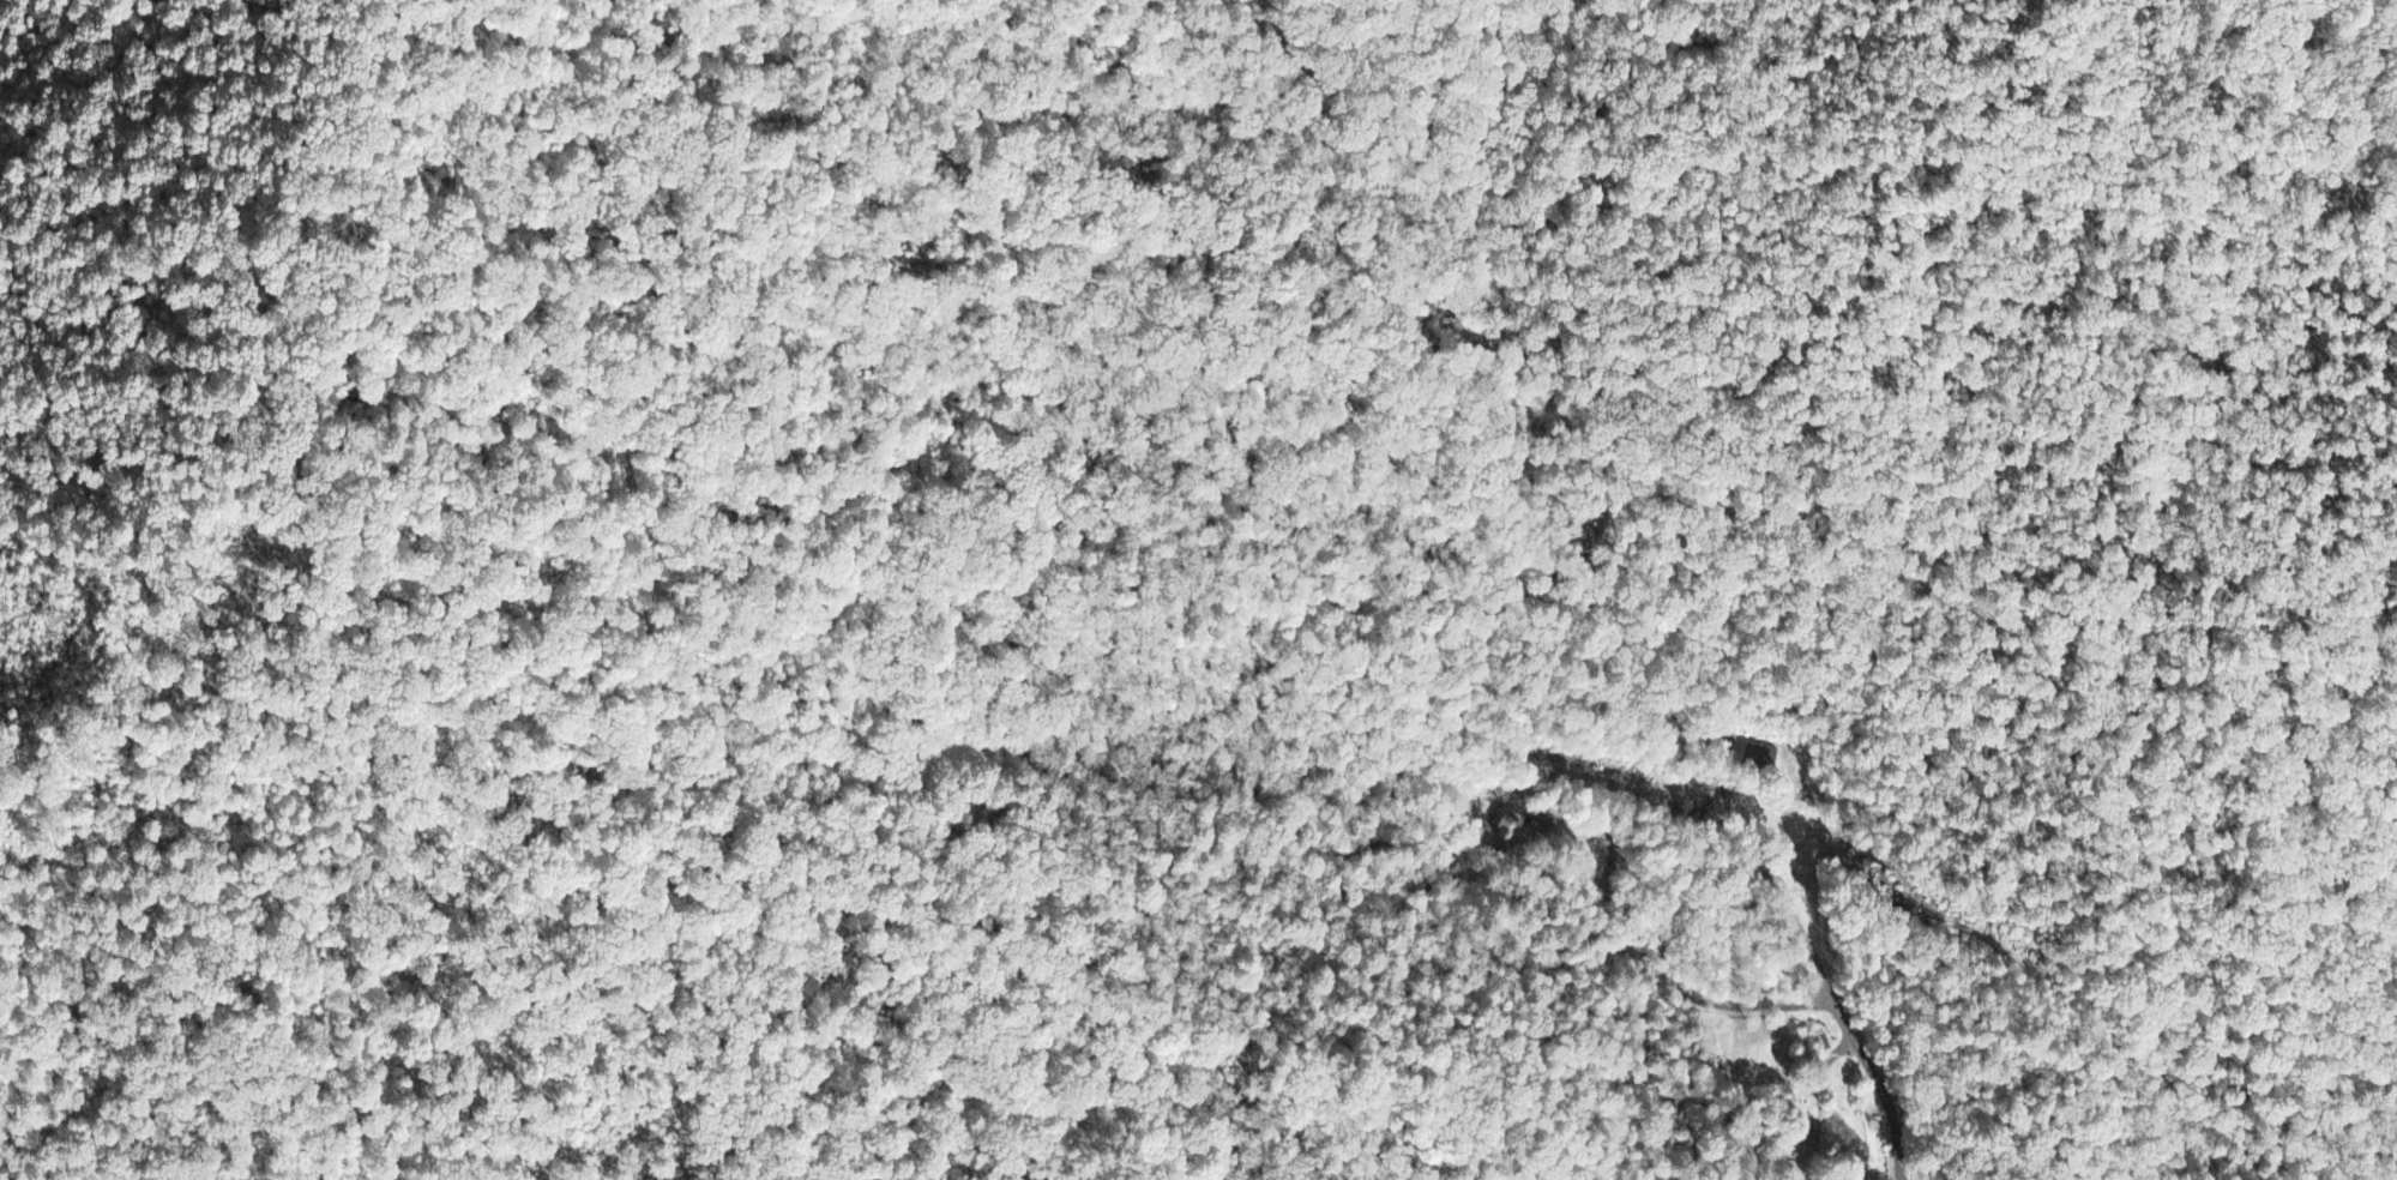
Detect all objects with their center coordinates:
road: (2389, 28)
road: (2167, 144)
building: (1761, 758)
building: (1507, 830)
road: (1869, 1062)
building: (1811, 1138)

